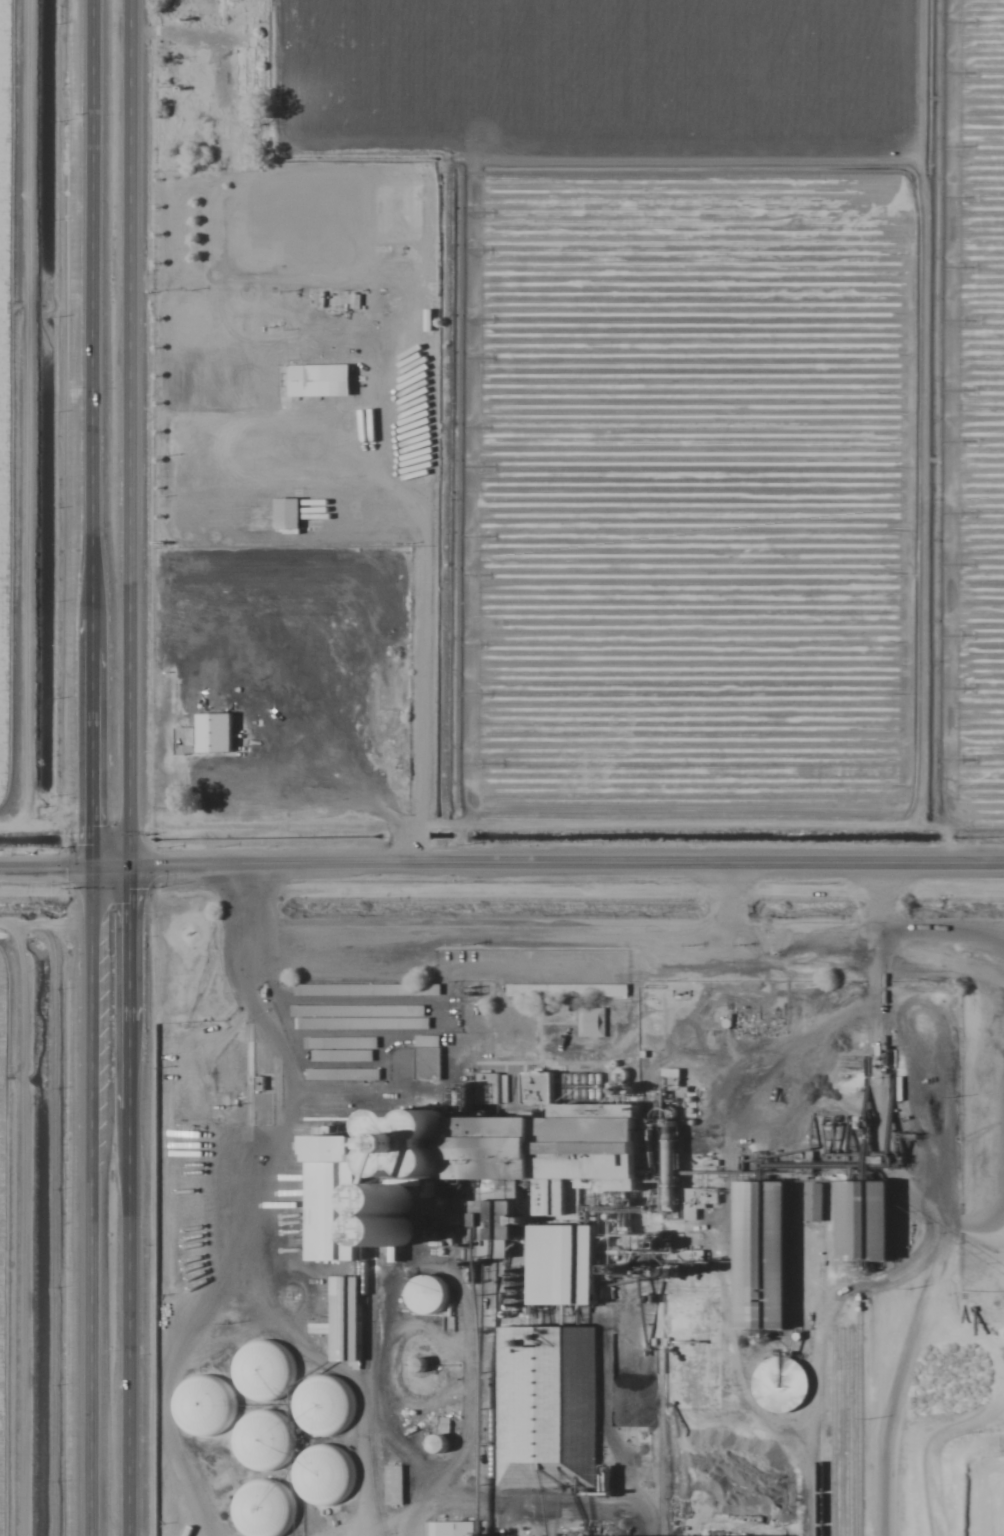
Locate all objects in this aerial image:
building: (241, 253)
building: (319, 381)
building: (287, 514)
building: (205, 736)
road: (84, 767)
road: (125, 767)
road: (502, 869)
traffic signals: (84, 870)
traffic signals: (125, 870)
building: (429, 989)
building: (302, 991)
building: (566, 991)
building: (359, 1018)
building: (591, 1022)
building: (340, 1049)
building: (427, 1065)
building: (342, 1075)
building: (494, 1089)
building: (553, 1146)
building: (335, 1214)
building: (867, 1223)
building: (763, 1257)
building: (426, 1295)
railway: (805, 1316)
building: (345, 1320)
building: (546, 1362)
building: (259, 1371)
building: (205, 1405)
building: (321, 1406)
building: (262, 1442)
railway: (332, 1461)
building: (322, 1475)
building: (394, 1486)
building: (263, 1508)
building: (450, 1529)

